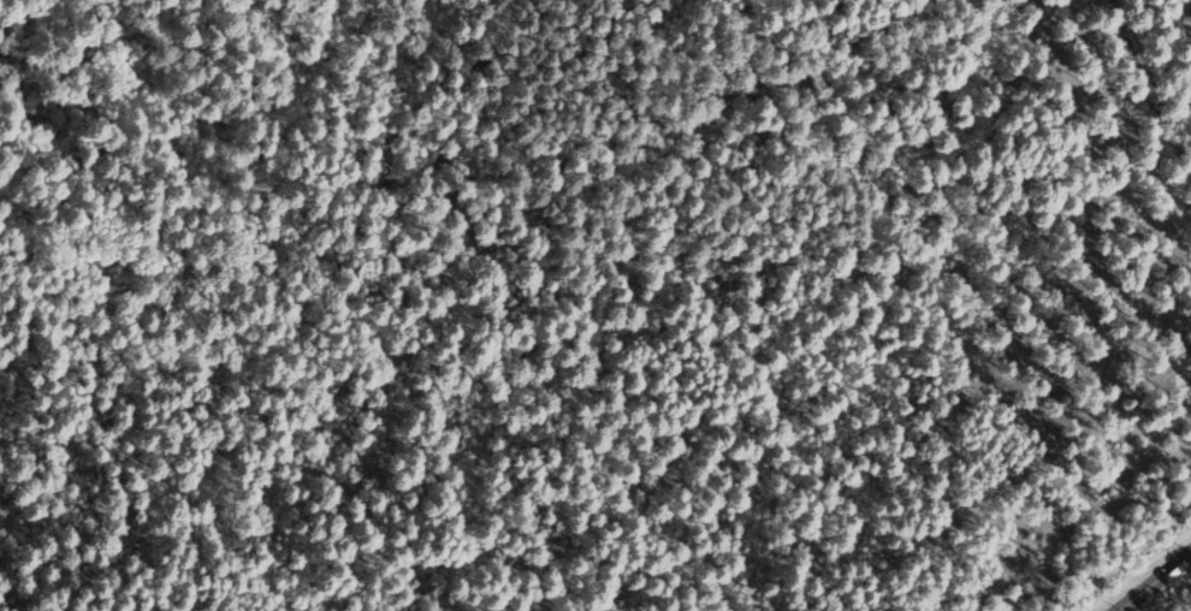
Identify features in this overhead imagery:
road: (1153, 95)
road: (1146, 576)

